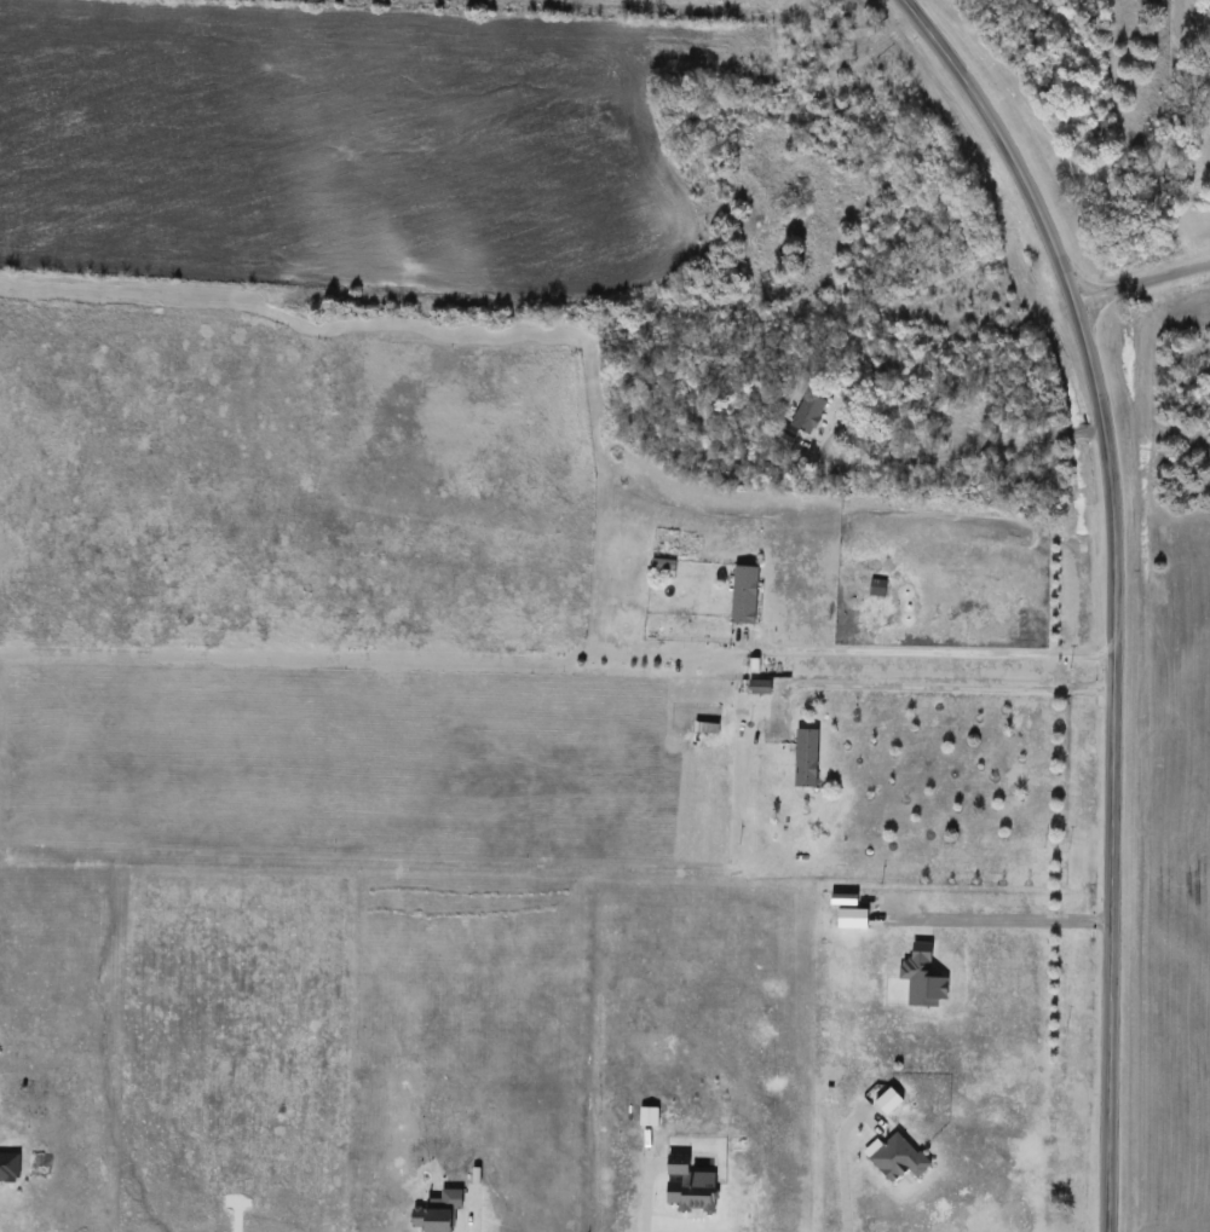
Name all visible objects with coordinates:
road: (1145, 282)
building: (809, 413)
road: (967, 452)
building: (664, 569)
road: (1118, 590)
building: (748, 596)
road: (934, 652)
road: (939, 684)
building: (762, 689)
building: (808, 759)
road: (1008, 918)
building: (892, 1103)
building: (900, 1159)
road: (843, 1166)
road: (649, 1201)

